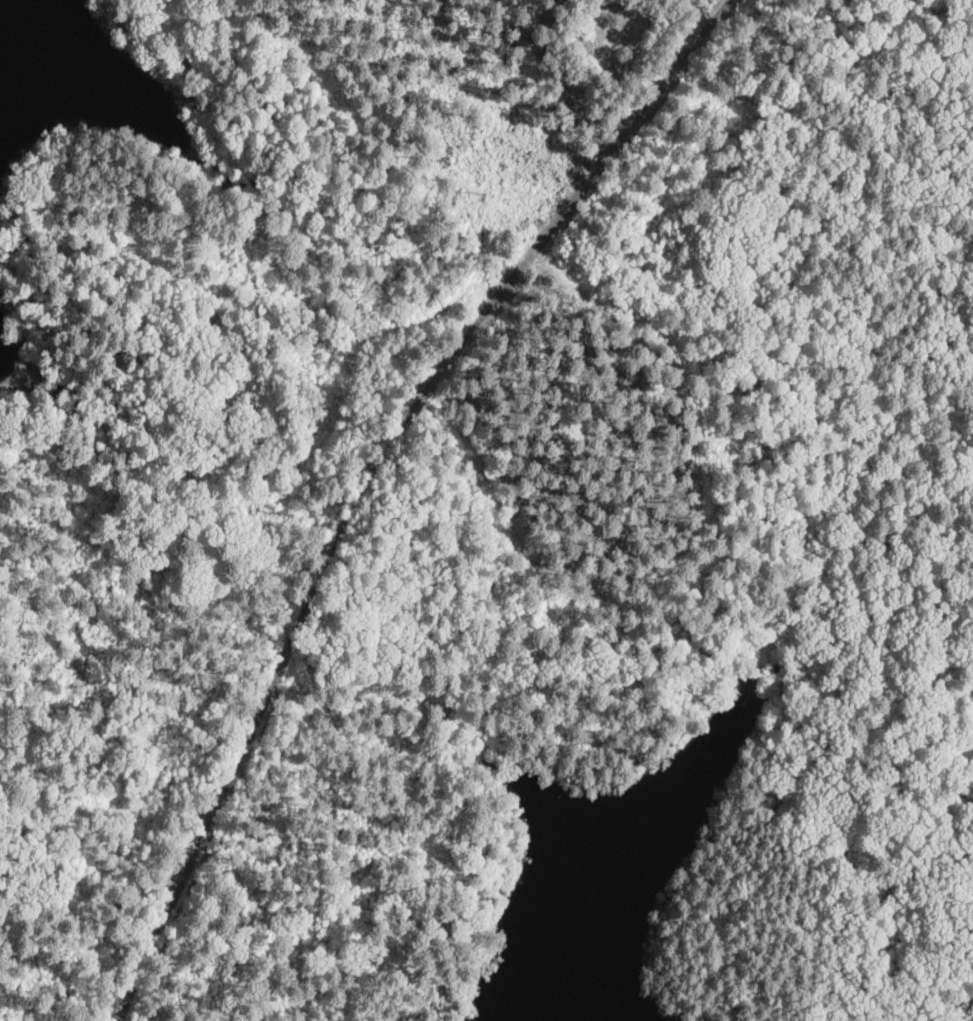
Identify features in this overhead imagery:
road: (367, 476)

